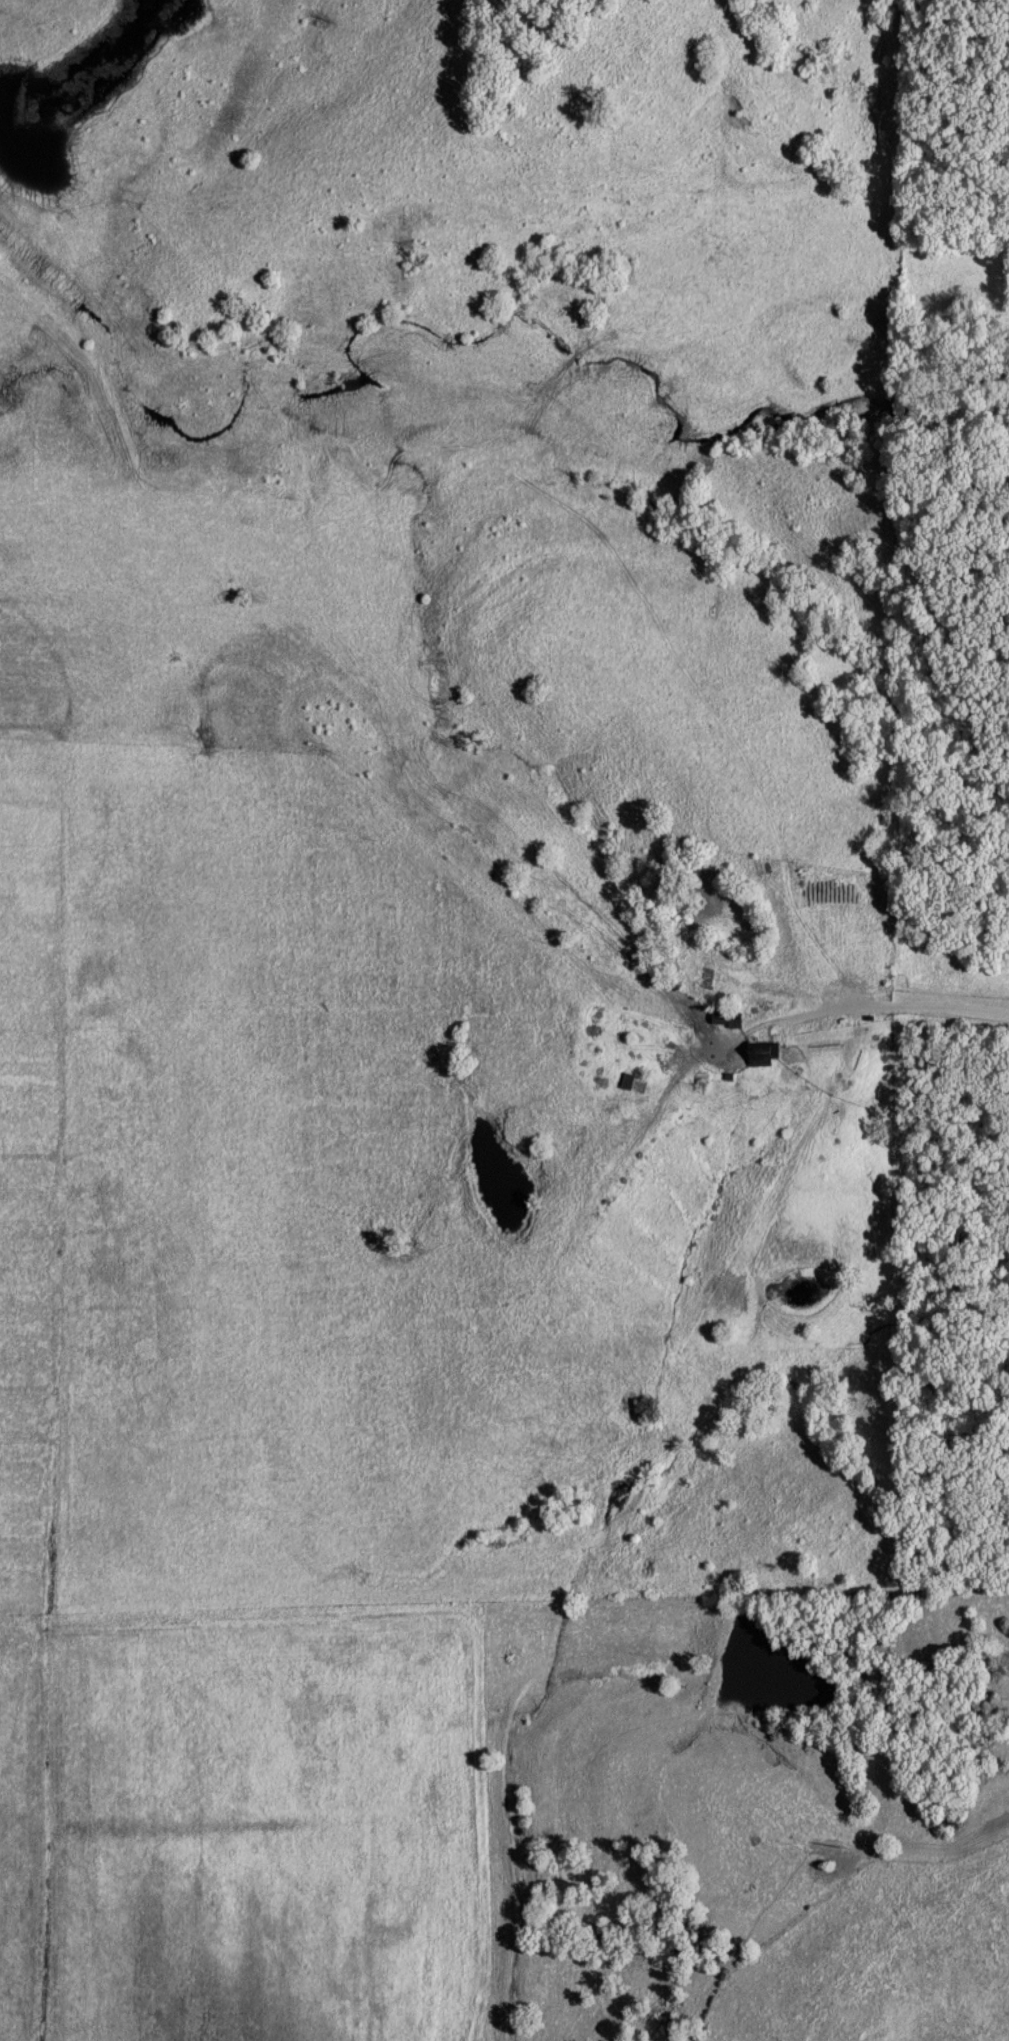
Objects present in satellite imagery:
road: (929, 1004)
building: (764, 1055)
building: (635, 1084)

